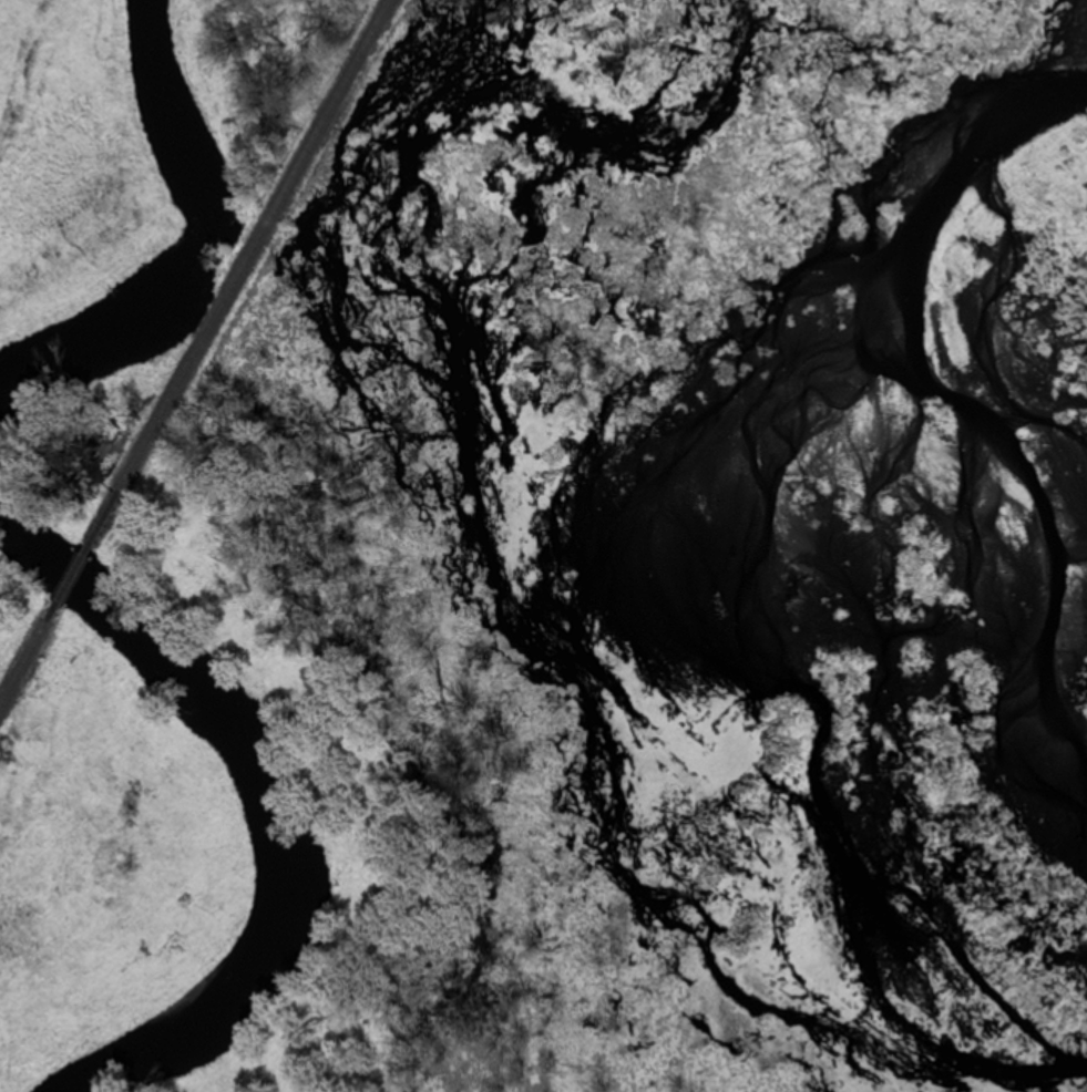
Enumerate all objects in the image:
river: (207, 245)
railway: (185, 339)
river: (259, 799)

